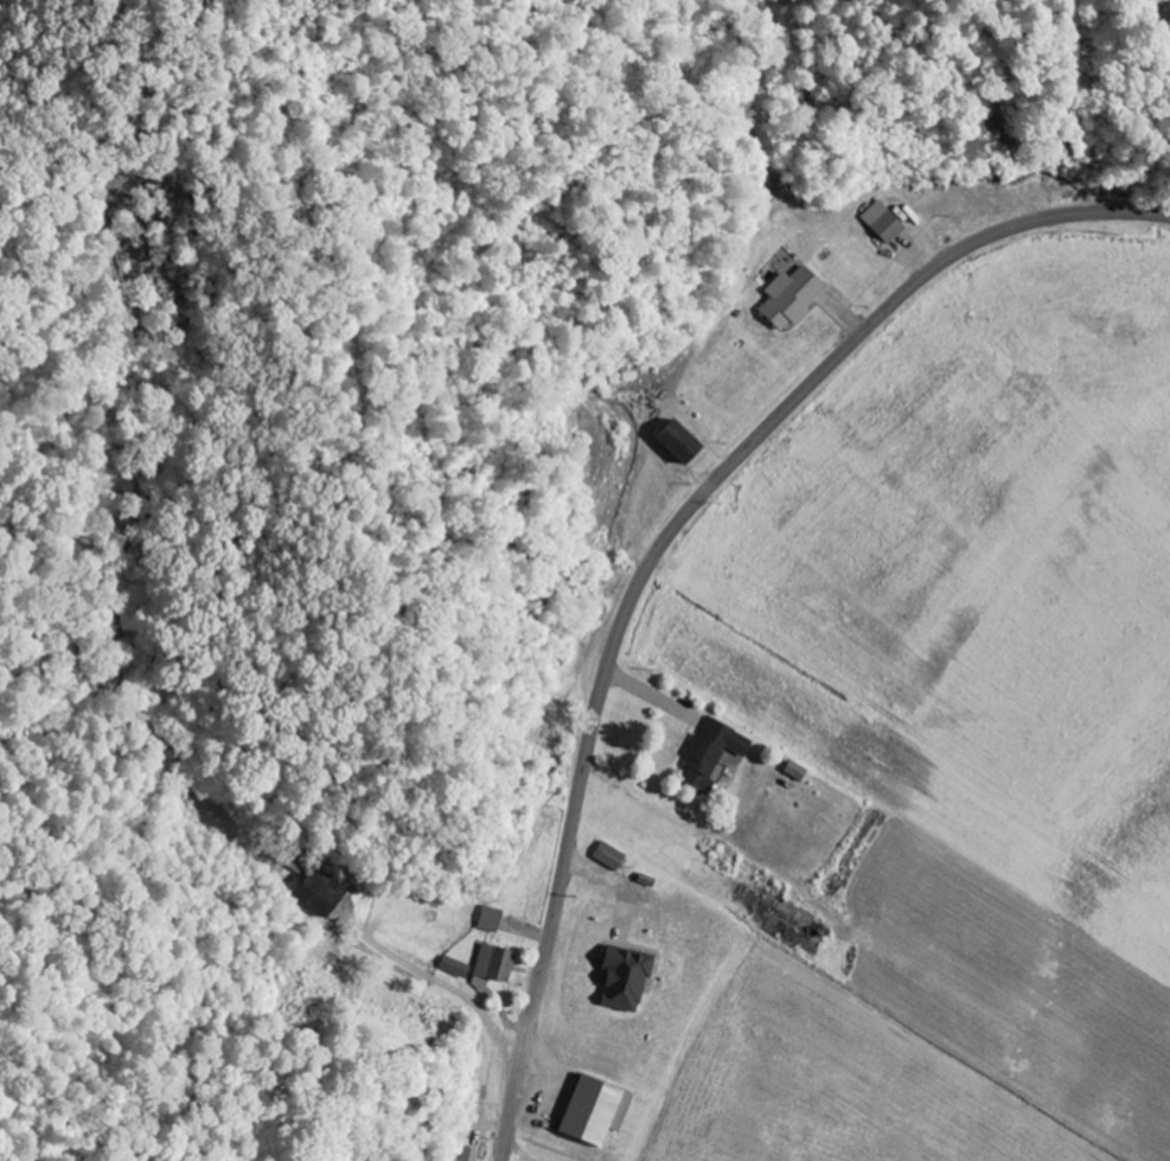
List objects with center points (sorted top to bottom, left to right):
building: (880, 224)
building: (786, 300)
building: (671, 444)
road: (661, 546)
building: (791, 771)
building: (605, 856)
building: (319, 893)
building: (486, 920)
building: (492, 964)
building: (452, 968)
building: (619, 980)
building: (589, 1111)
building: (467, 1154)

